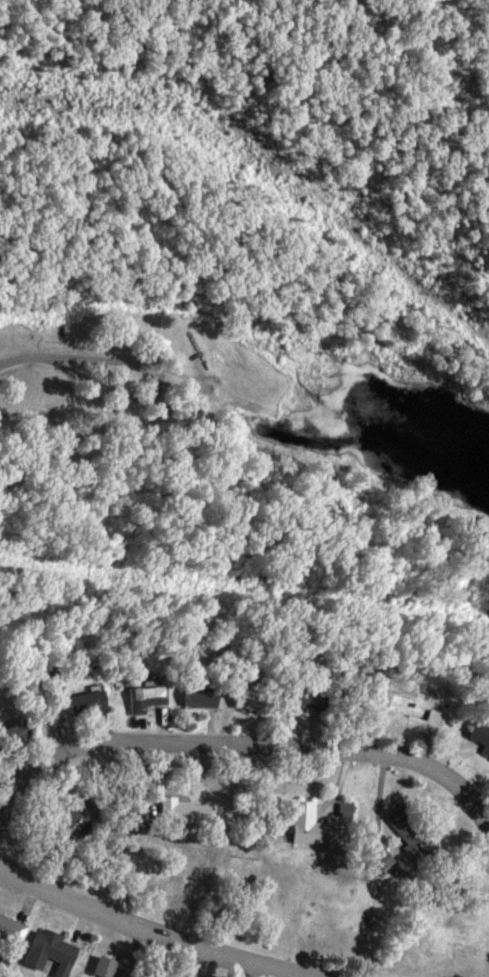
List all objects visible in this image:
road: (83, 362)
building: (203, 696)
building: (149, 697)
building: (253, 697)
building: (306, 700)
building: (89, 702)
building: (481, 734)
road: (245, 747)
building: (188, 811)
building: (81, 821)
building: (313, 825)
building: (415, 833)
building: (387, 859)
building: (14, 926)
road: (142, 930)
building: (54, 951)
building: (114, 968)

